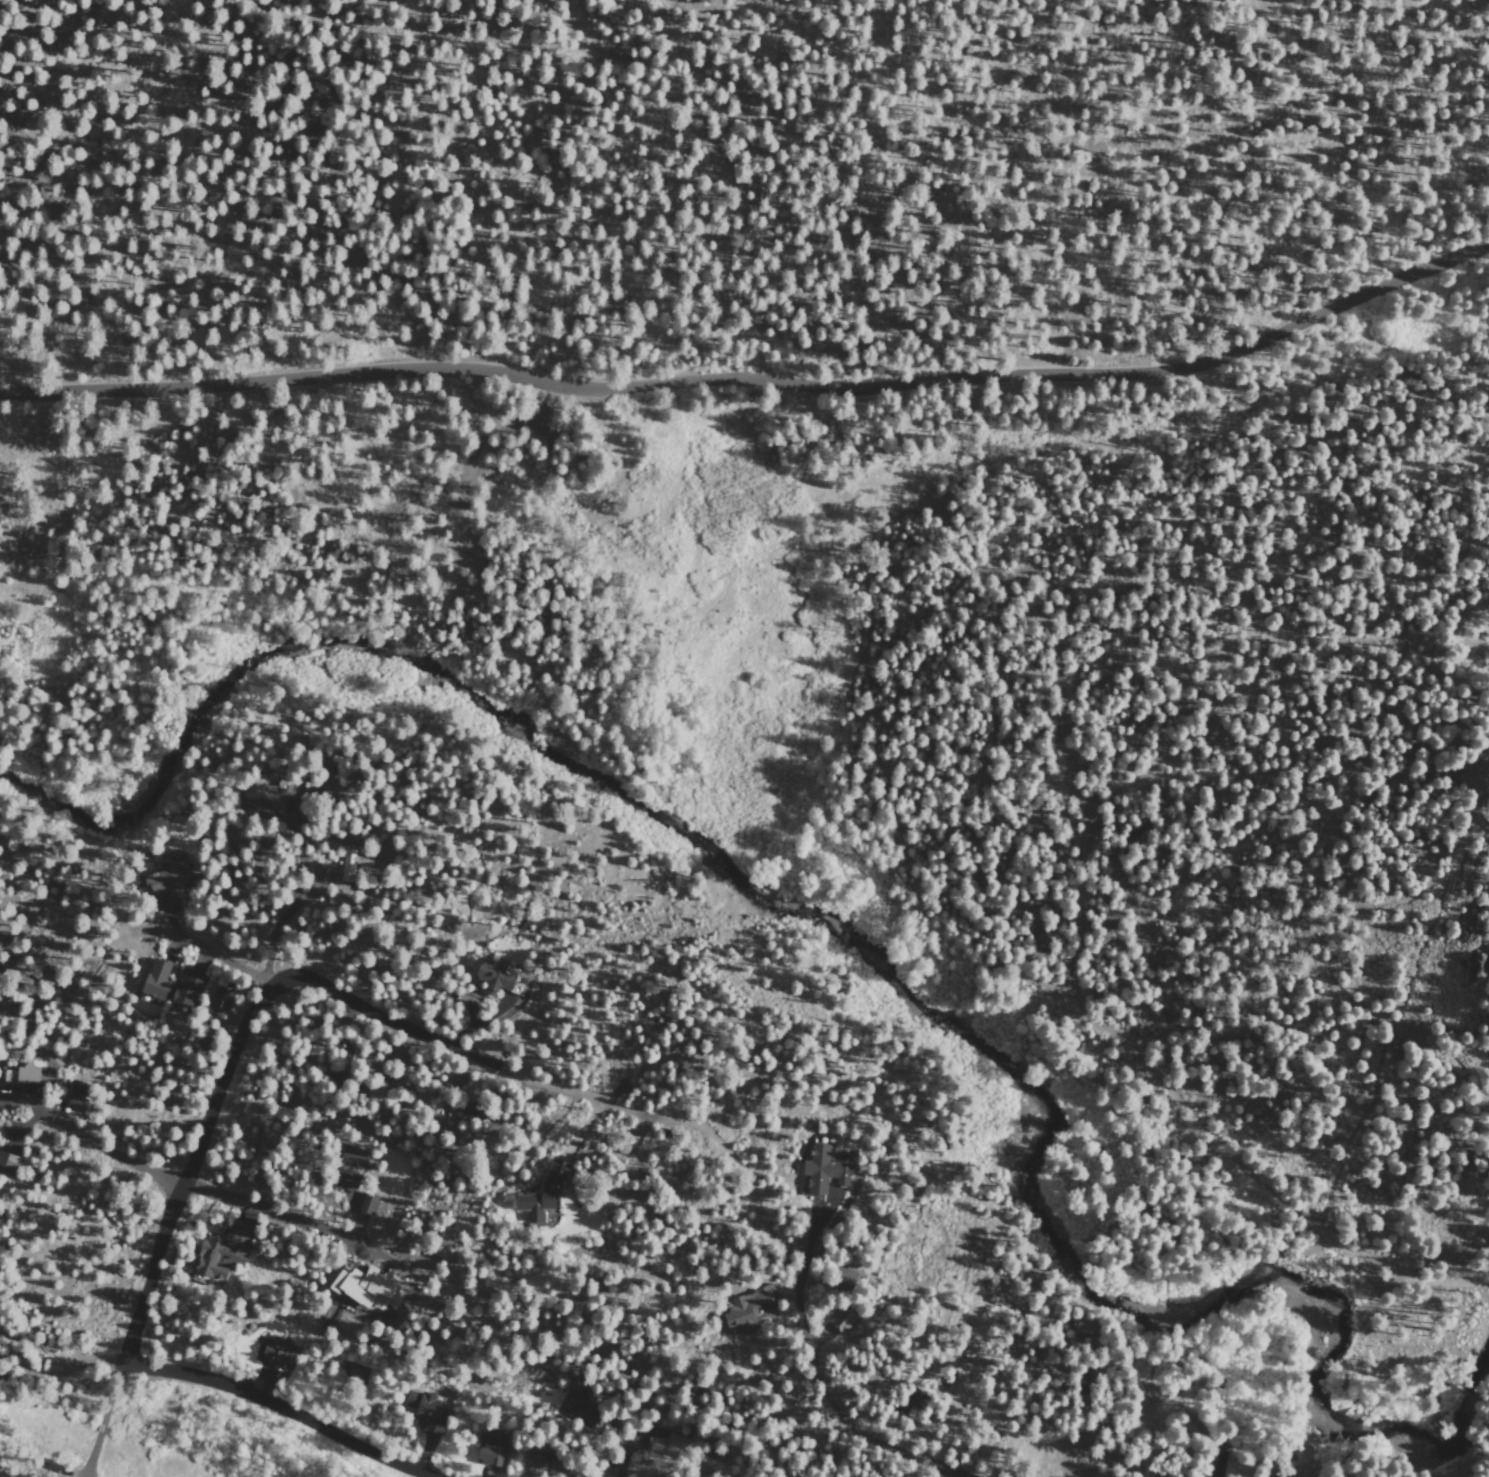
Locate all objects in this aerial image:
road: (754, 375)
road: (953, 432)
road: (1267, 675)
road: (884, 747)
building: (266, 797)
road: (1380, 801)
building: (1070, 805)
road: (297, 840)
building: (352, 858)
building: (167, 876)
road: (309, 880)
road: (274, 935)
road: (1292, 947)
road: (223, 959)
building: (154, 978)
building: (496, 978)
road: (1078, 980)
building: (185, 988)
building: (224, 1000)
road: (380, 1013)
road: (473, 1021)
road: (344, 1033)
road: (374, 1041)
building: (14, 1070)
building: (335, 1083)
road: (546, 1085)
building: (376, 1093)
building: (72, 1095)
road: (17, 1096)
building: (460, 1107)
road: (23, 1118)
road: (105, 1149)
building: (5, 1160)
road: (733, 1163)
building: (346, 1165)
building: (823, 1167)
road: (187, 1170)
building: (534, 1191)
building: (365, 1204)
road: (270, 1210)
road: (808, 1247)
building: (220, 1252)
road: (383, 1259)
building: (841, 1278)
building: (744, 1309)
building: (840, 1319)
road: (787, 1322)
road: (818, 1339)
building: (272, 1353)
road: (63, 1365)
building: (1086, 1380)
road: (964, 1382)
road: (111, 1390)
building: (906, 1399)
road: (281, 1407)
building: (576, 1409)
building: (425, 1410)
road: (848, 1422)
road: (1105, 1426)
road: (100, 1428)
road: (922, 1440)
building: (687, 1443)
building: (489, 1447)
road: (92, 1454)
road: (626, 1456)
building: (47, 1465)
building: (543, 1465)
road: (937, 1473)
road: (863, 1474)
building: (845, 1476)
building: (1103, 1476)

